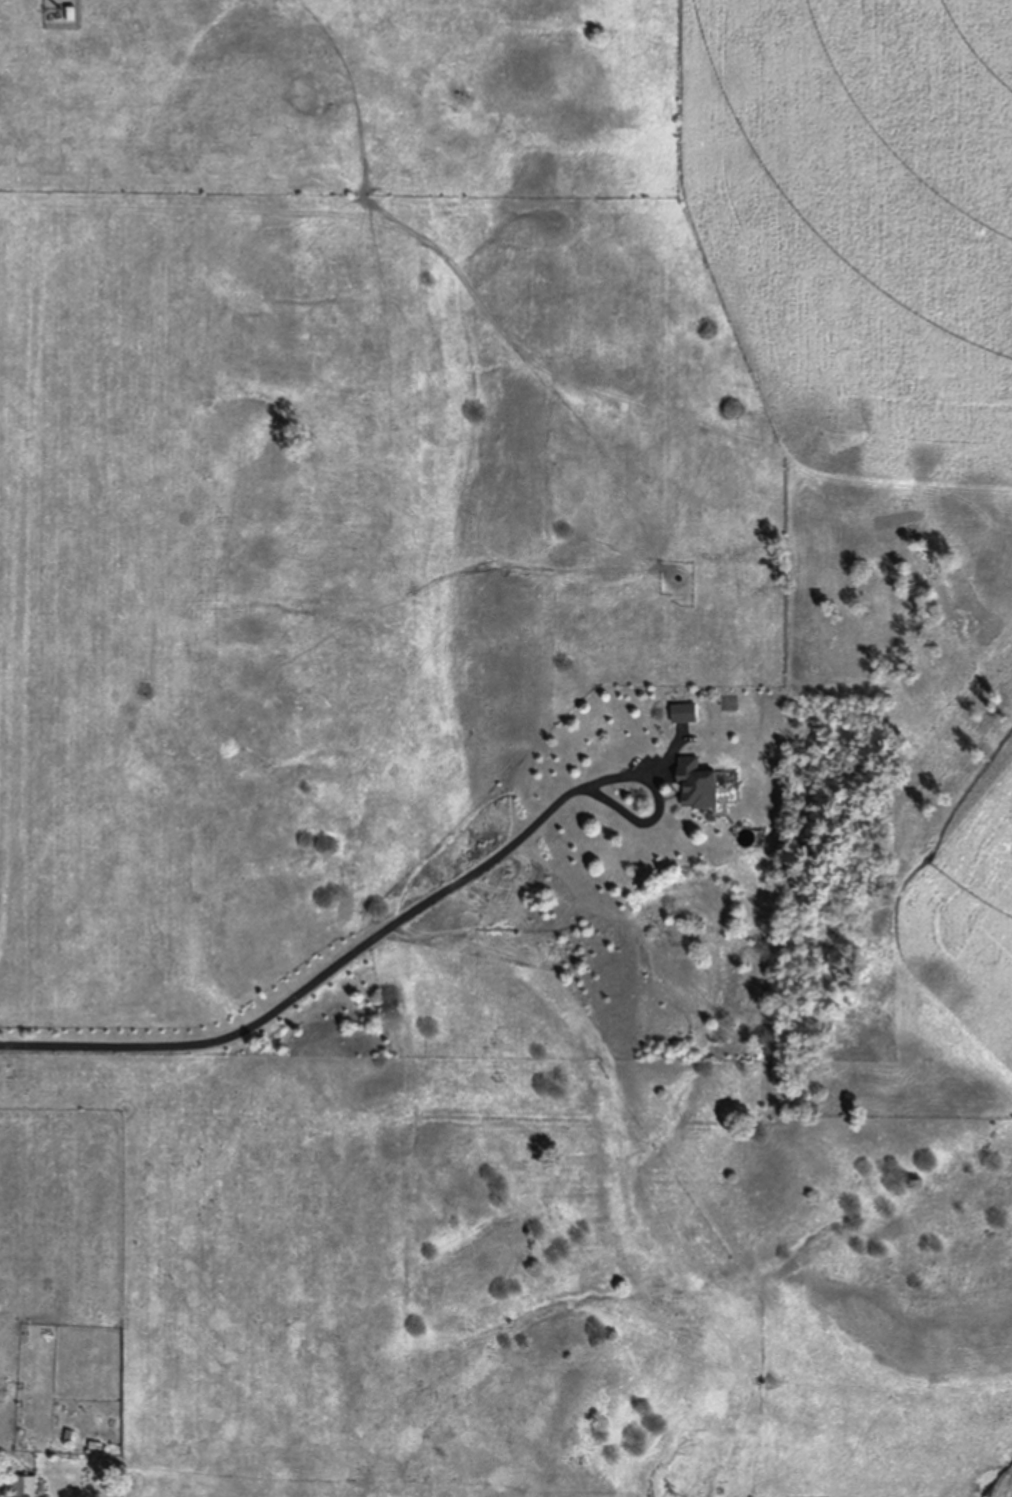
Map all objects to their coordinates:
building: (684, 713)
building: (697, 784)
road: (660, 805)
road: (312, 980)
building: (25, 1486)

